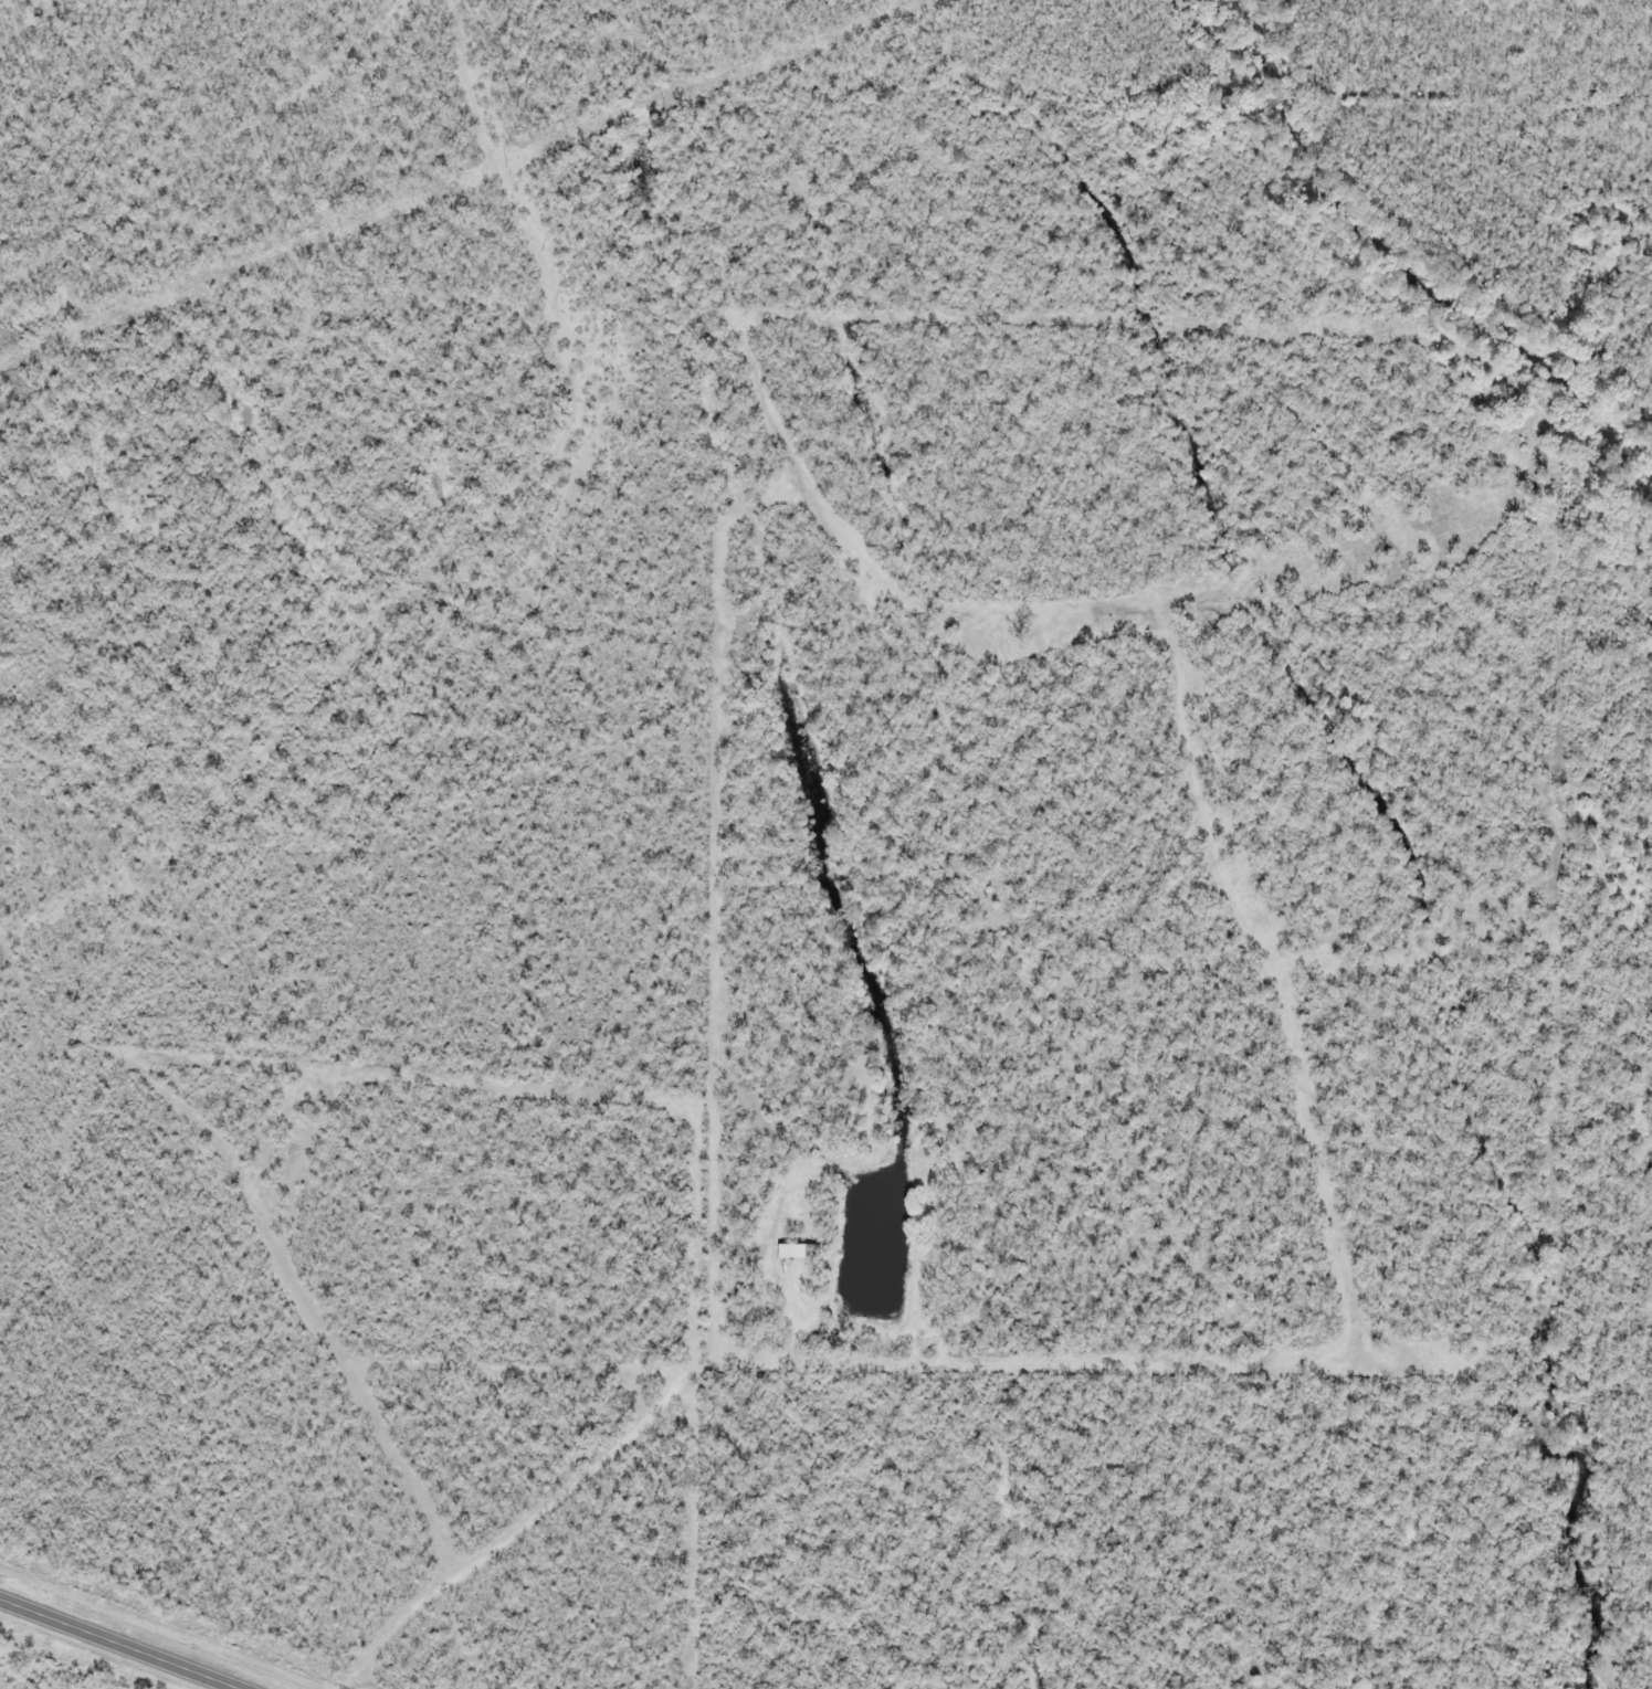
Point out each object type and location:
road: (114, 1646)

